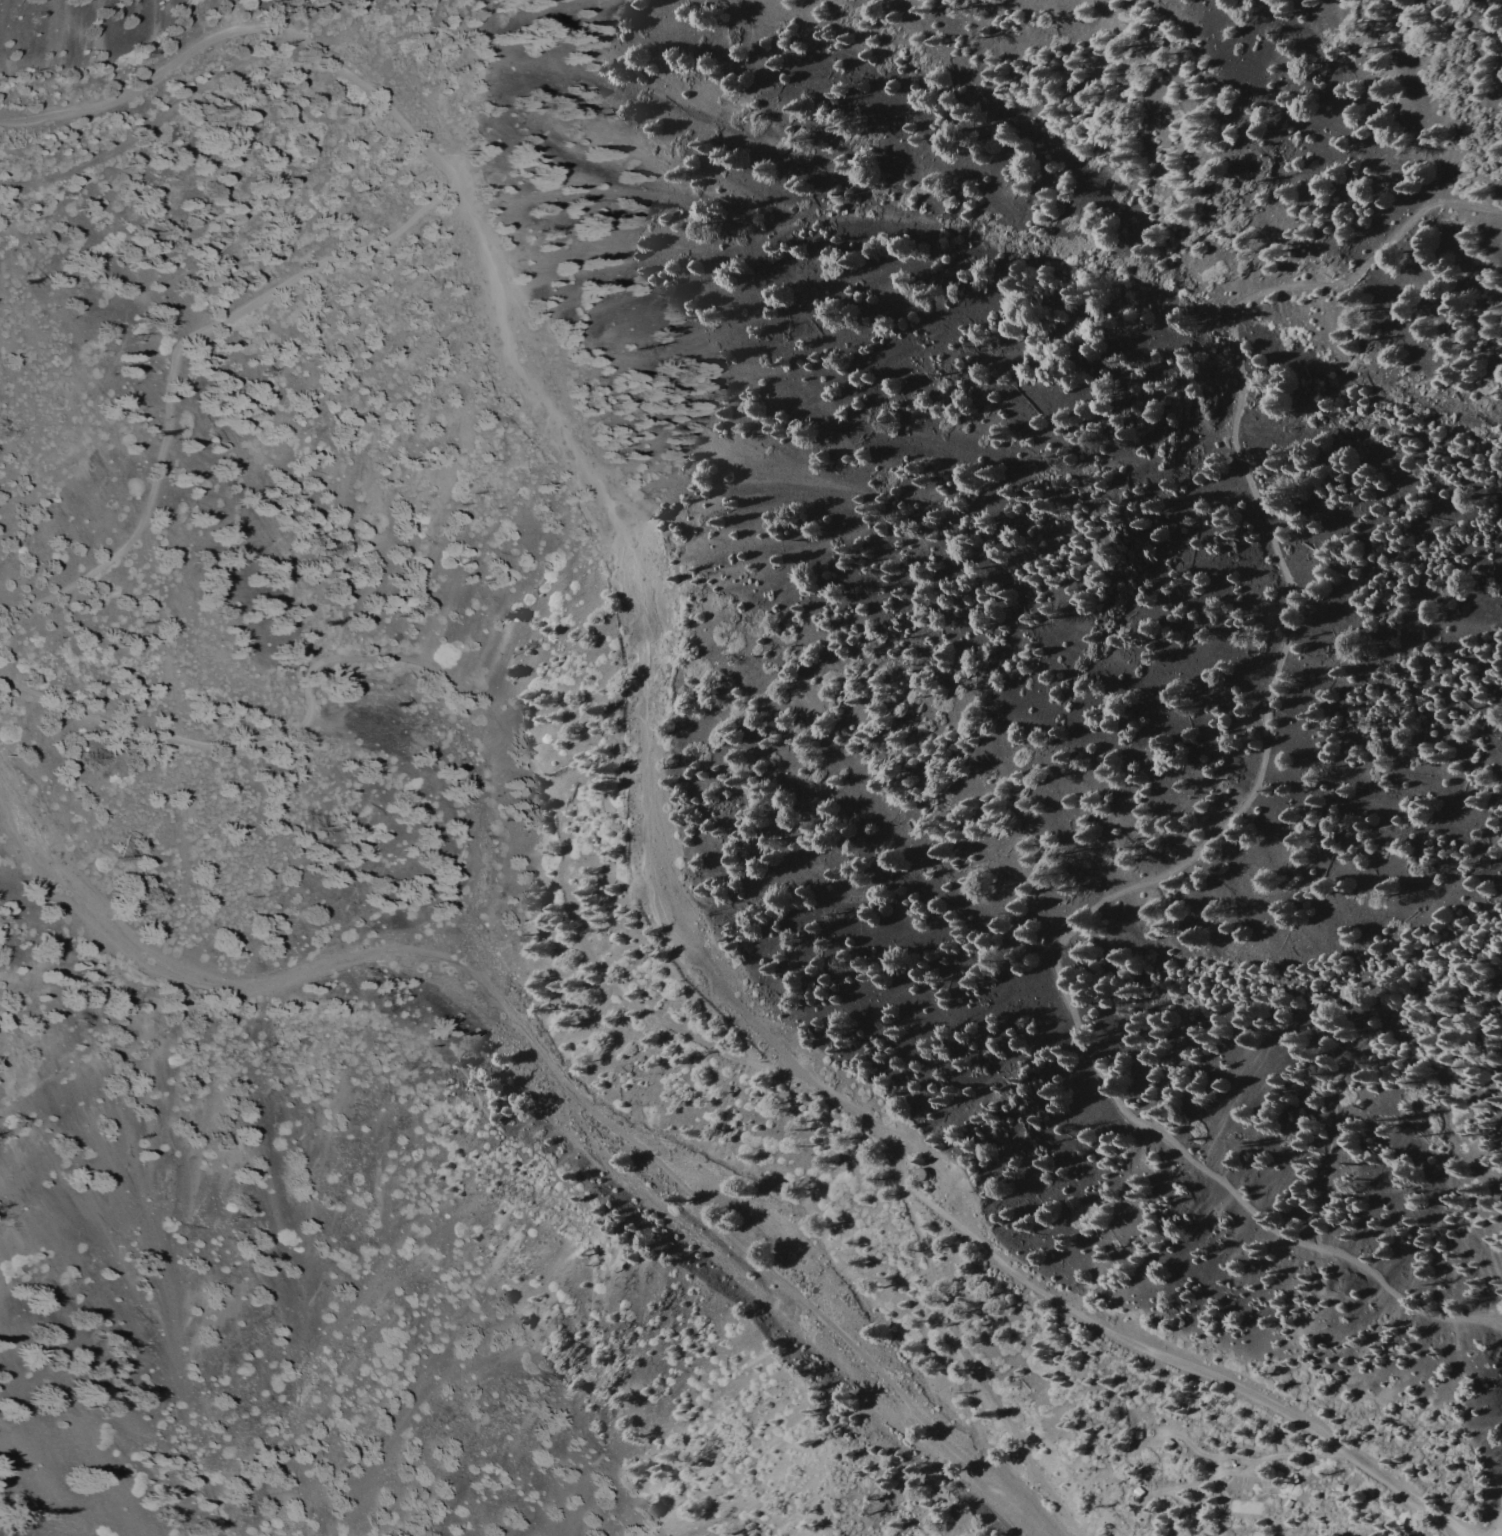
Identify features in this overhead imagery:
road: (238, 32)
road: (151, 123)
aerialway pylon: (27, 282)
road: (175, 353)
aerialway pylon: (162, 435)
road: (635, 626)
road: (472, 694)
aerialway pylon: (402, 707)
road: (1226, 822)
ski resort: (482, 908)
aerialway pylon: (599, 930)
aerialway pylon: (705, 1050)
aerialway pylon: (948, 1325)
road: (1104, 1330)
road: (976, 1371)
aerialway pylon: (1108, 1507)
road: (1500, 1533)

